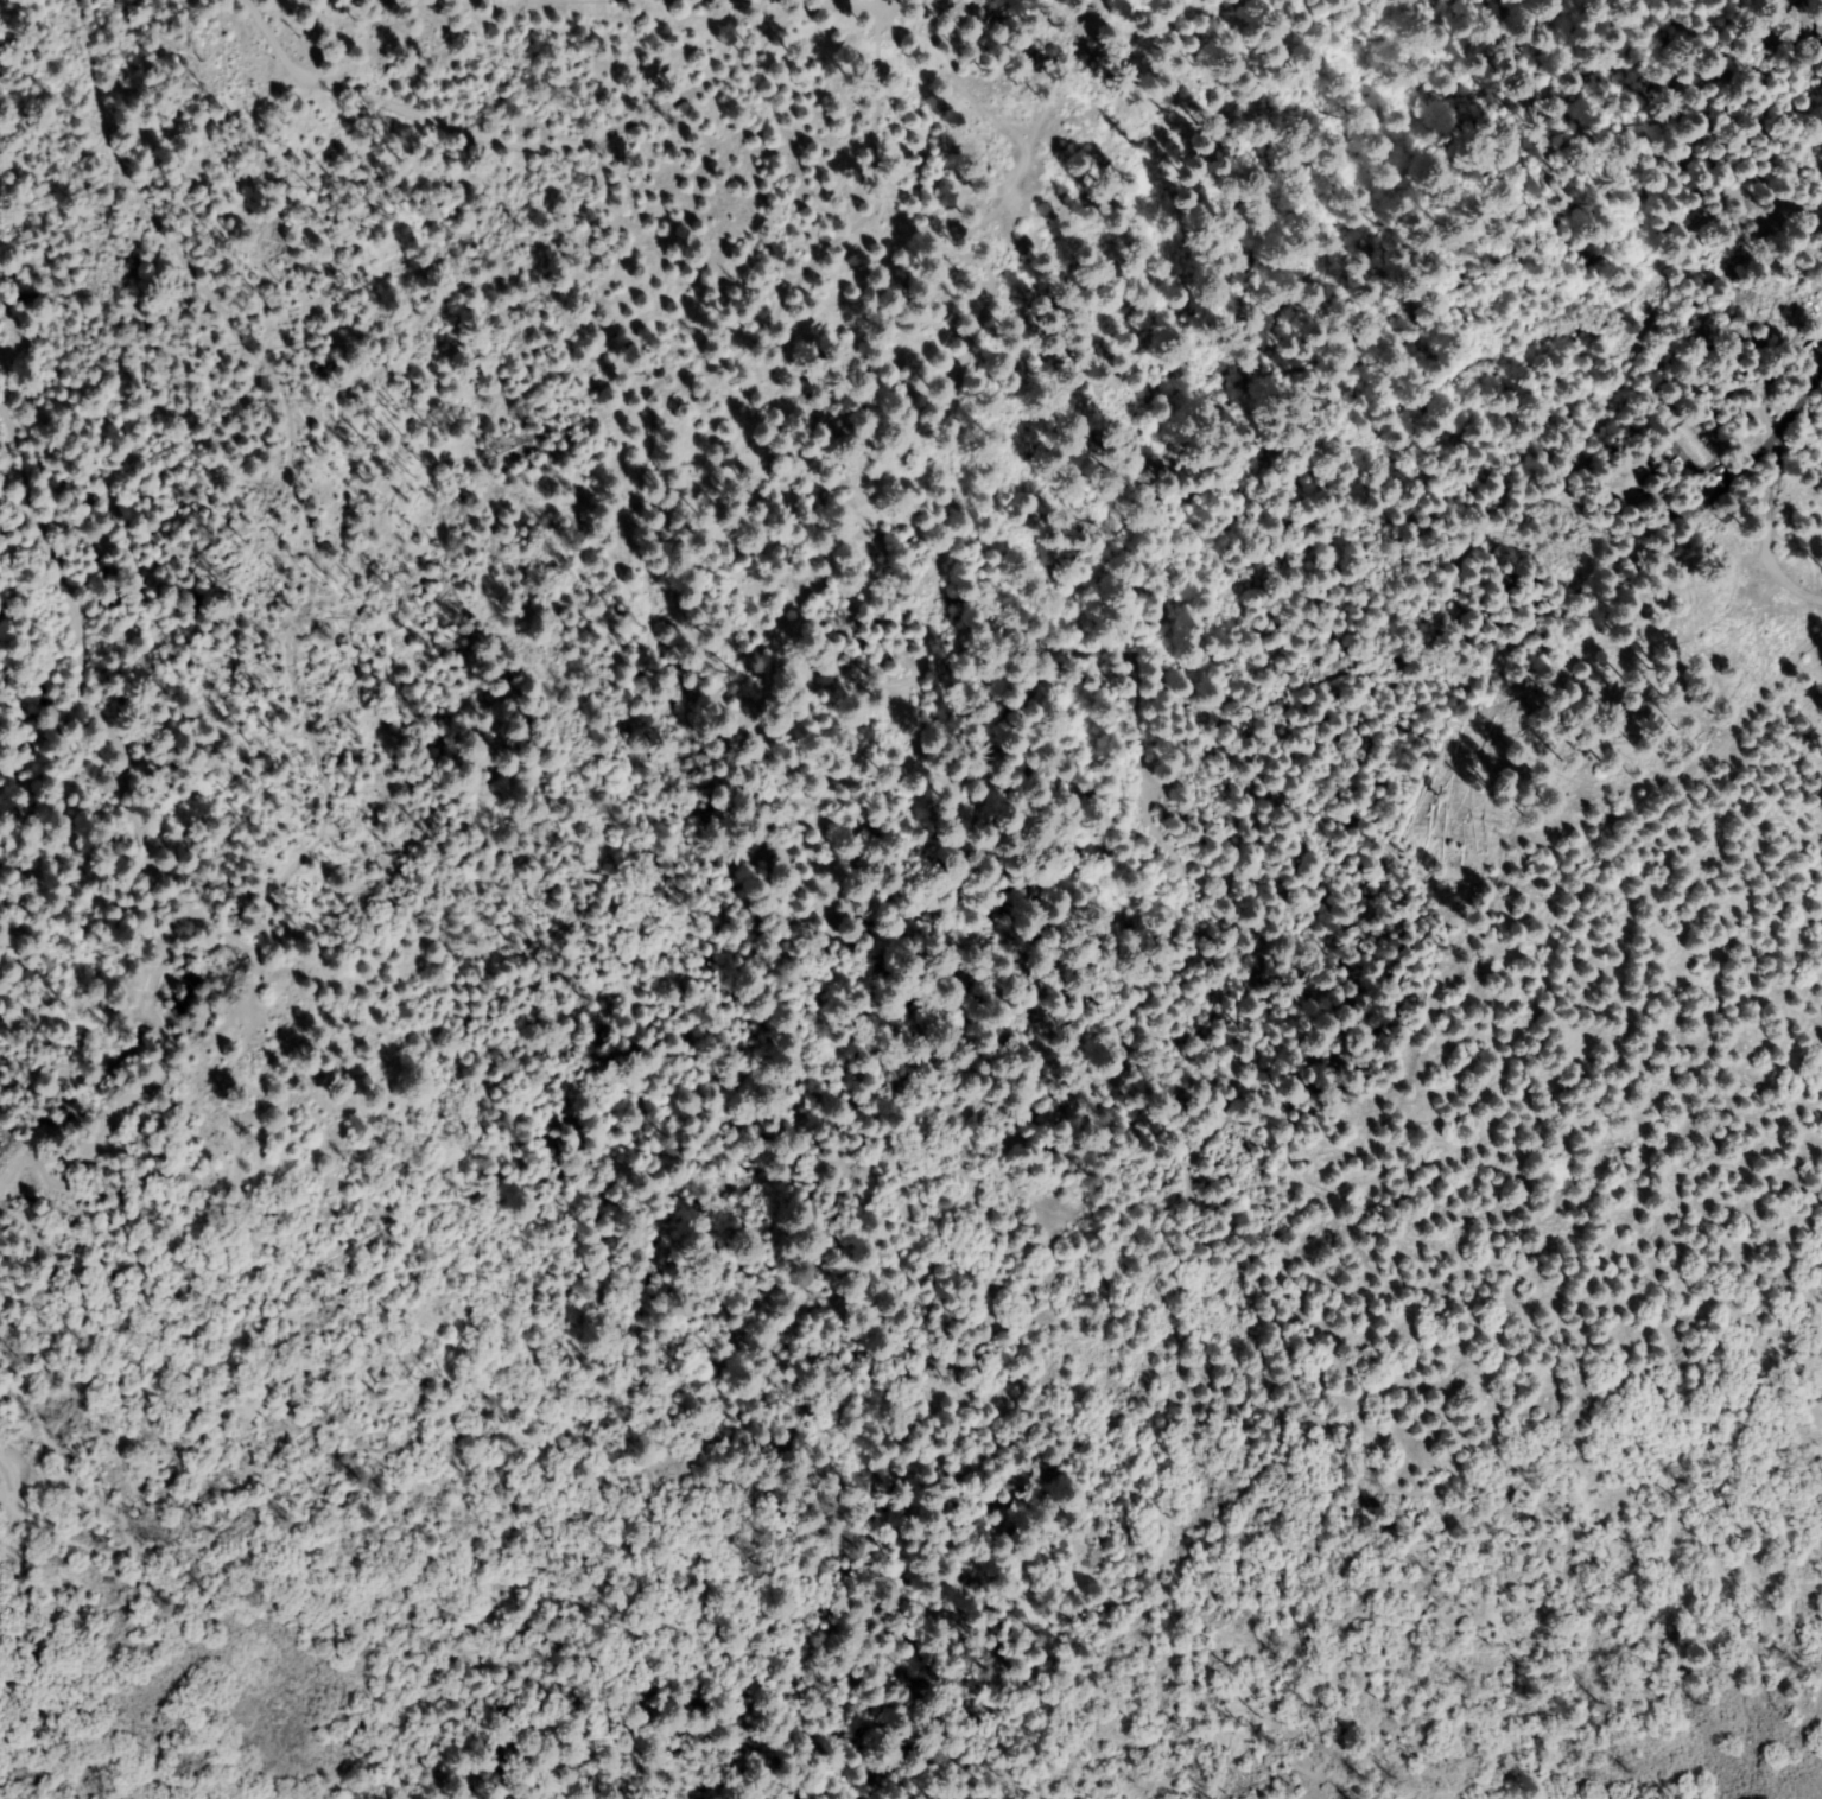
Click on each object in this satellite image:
building: (1821, 27)
road: (531, 140)
road: (961, 328)
road: (291, 699)
road: (93, 718)
road: (515, 1423)
road: (56, 1450)

